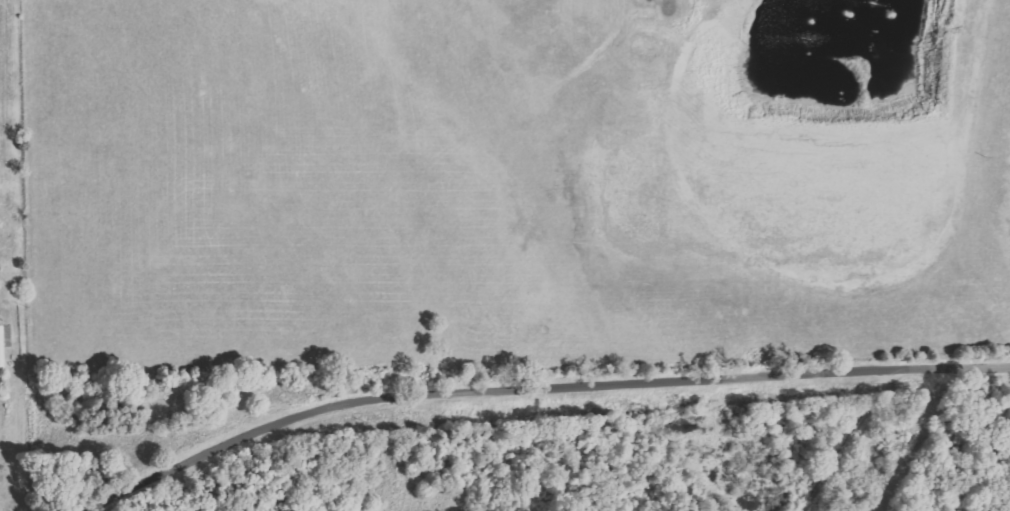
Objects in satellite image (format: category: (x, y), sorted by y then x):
building: (11, 266)
road: (543, 389)

